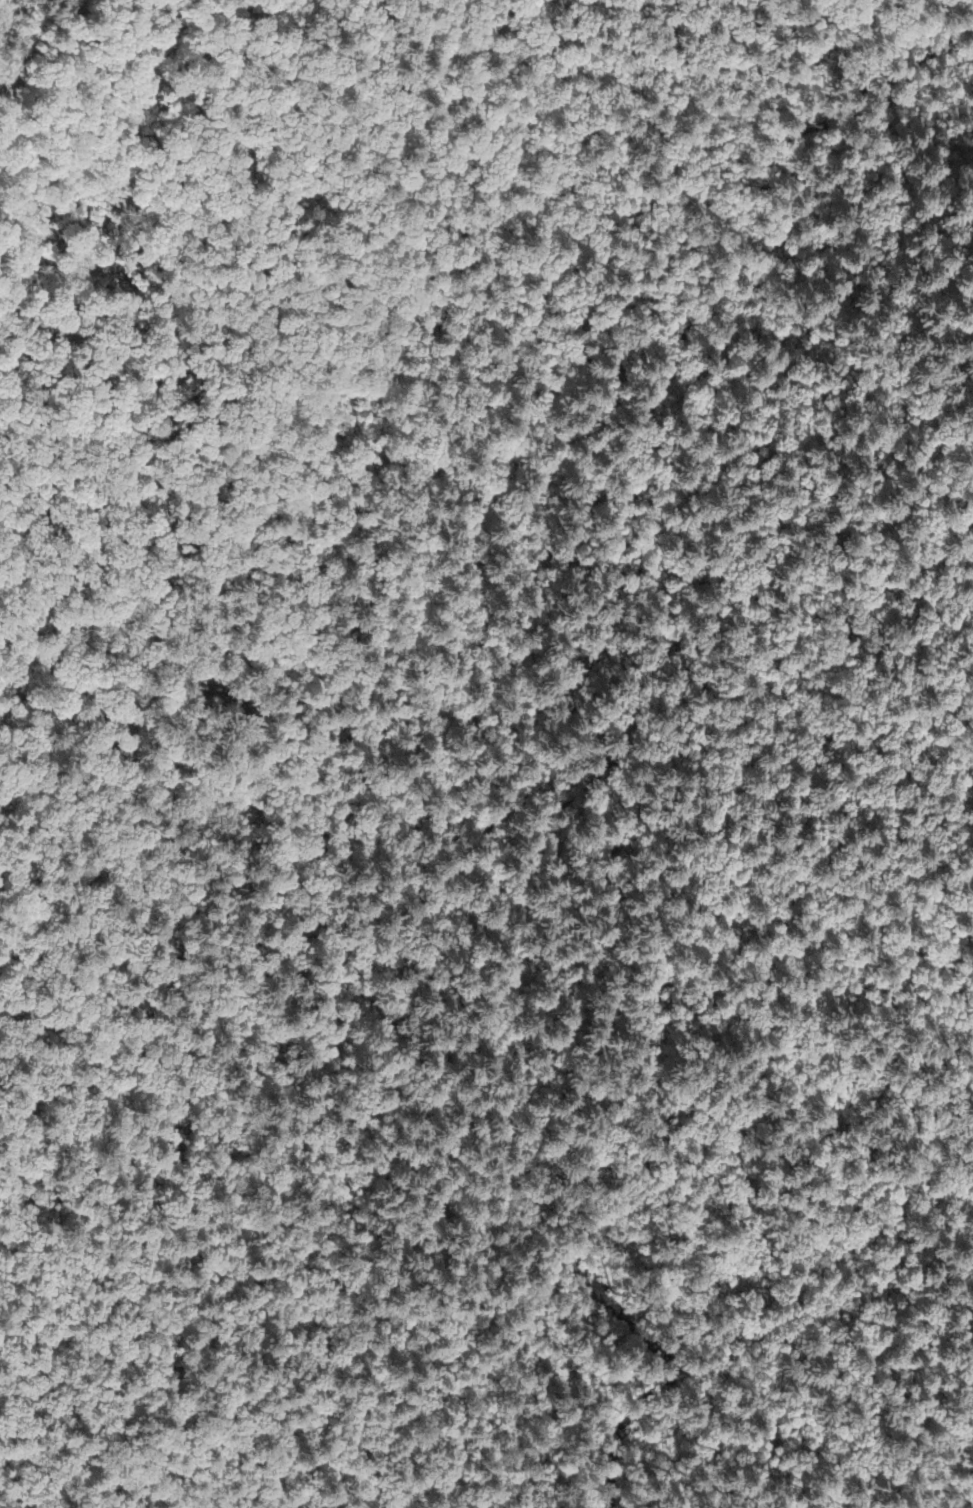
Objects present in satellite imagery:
road: (48, 1242)

